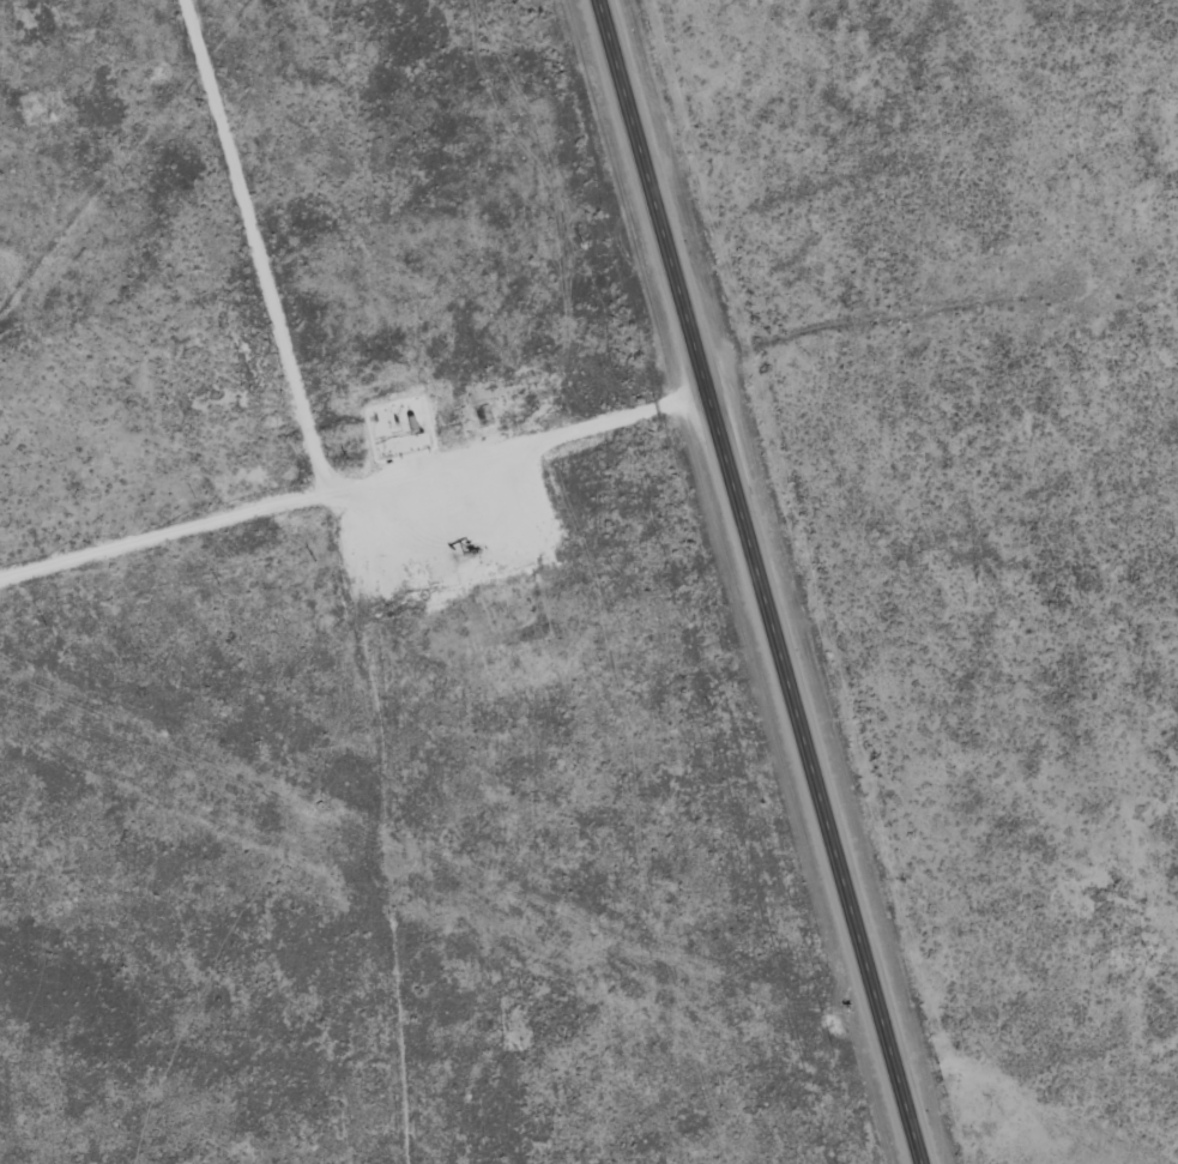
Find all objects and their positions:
road: (763, 581)

